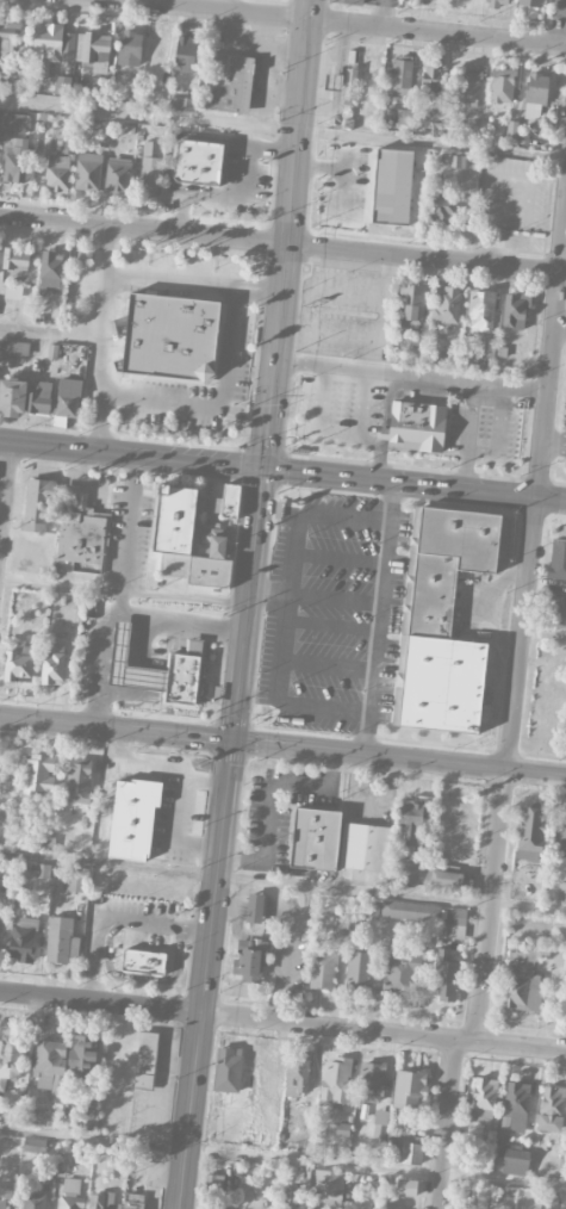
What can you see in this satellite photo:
building: (350, 1)
building: (496, 2)
building: (530, 2)
road: (381, 14)
road: (343, 24)
road: (565, 35)
building: (8, 41)
building: (131, 43)
building: (46, 46)
building: (93, 46)
building: (186, 54)
building: (155, 55)
building: (399, 74)
building: (431, 79)
building: (1, 81)
building: (332, 81)
building: (229, 82)
building: (502, 85)
building: (349, 86)
building: (469, 87)
building: (535, 94)
building: (182, 103)
building: (14, 123)
road: (282, 129)
building: (68, 144)
building: (336, 154)
building: (14, 160)
building: (198, 161)
building: (58, 170)
building: (89, 172)
building: (118, 175)
building: (149, 175)
building: (392, 186)
building: (328, 190)
building: (440, 209)
road: (288, 234)
road: (282, 243)
building: (15, 260)
building: (52, 271)
road: (170, 280)
road: (259, 290)
building: (13, 291)
building: (446, 304)
building: (412, 306)
road: (104, 309)
building: (515, 310)
building: (480, 311)
road: (560, 322)
road: (51, 331)
building: (172, 339)
building: (14, 347)
road: (552, 353)
building: (490, 358)
road: (412, 377)
building: (24, 397)
building: (68, 398)
road: (219, 405)
road: (99, 422)
building: (415, 426)
road: (555, 447)
road: (132, 455)
traffic signals: (266, 470)
road: (403, 483)
road: (5, 484)
road: (553, 500)
building: (224, 502)
road: (392, 503)
building: (36, 504)
building: (81, 528)
building: (188, 539)
road: (386, 541)
building: (556, 558)
road: (124, 594)
road: (122, 602)
road: (483, 606)
road: (122, 610)
building: (556, 612)
building: (441, 620)
road: (546, 635)
building: (180, 641)
building: (18, 664)
building: (52, 666)
road: (276, 690)
traffic signals: (232, 739)
road: (282, 744)
road: (510, 770)
building: (39, 774)
building: (77, 780)
road: (272, 796)
building: (133, 819)
building: (410, 823)
building: (530, 832)
building: (562, 836)
road: (220, 838)
building: (337, 842)
building: (0, 868)
building: (43, 870)
building: (409, 872)
building: (447, 876)
building: (75, 880)
road: (282, 883)
building: (561, 891)
building: (254, 907)
building: (410, 910)
building: (372, 911)
building: (454, 923)
building: (340, 925)
building: (0, 926)
building: (23, 940)
building: (61, 940)
building: (143, 961)
building: (249, 961)
building: (323, 968)
building: (356, 969)
building: (399, 975)
building: (444, 976)
building: (522, 980)
road: (282, 1022)
building: (81, 1054)
building: (10, 1058)
building: (145, 1060)
building: (49, 1066)
building: (229, 1074)
building: (297, 1077)
building: (335, 1079)
building: (371, 1080)
building: (409, 1089)
building: (483, 1104)
building: (516, 1106)
building: (551, 1108)
building: (83, 1112)
building: (217, 1112)
building: (35, 1116)
building: (379, 1122)
road: (447, 1123)
building: (342, 1129)
building: (33, 1145)
building: (411, 1149)
building: (118, 1154)
road: (282, 1158)
building: (515, 1159)
building: (213, 1182)
building: (406, 1186)
building: (326, 1188)
building: (70, 1192)
building: (288, 1198)
building: (33, 1201)
building: (133, 1201)
building: (2, 1202)
building: (104, 1202)
building: (468, 1208)

